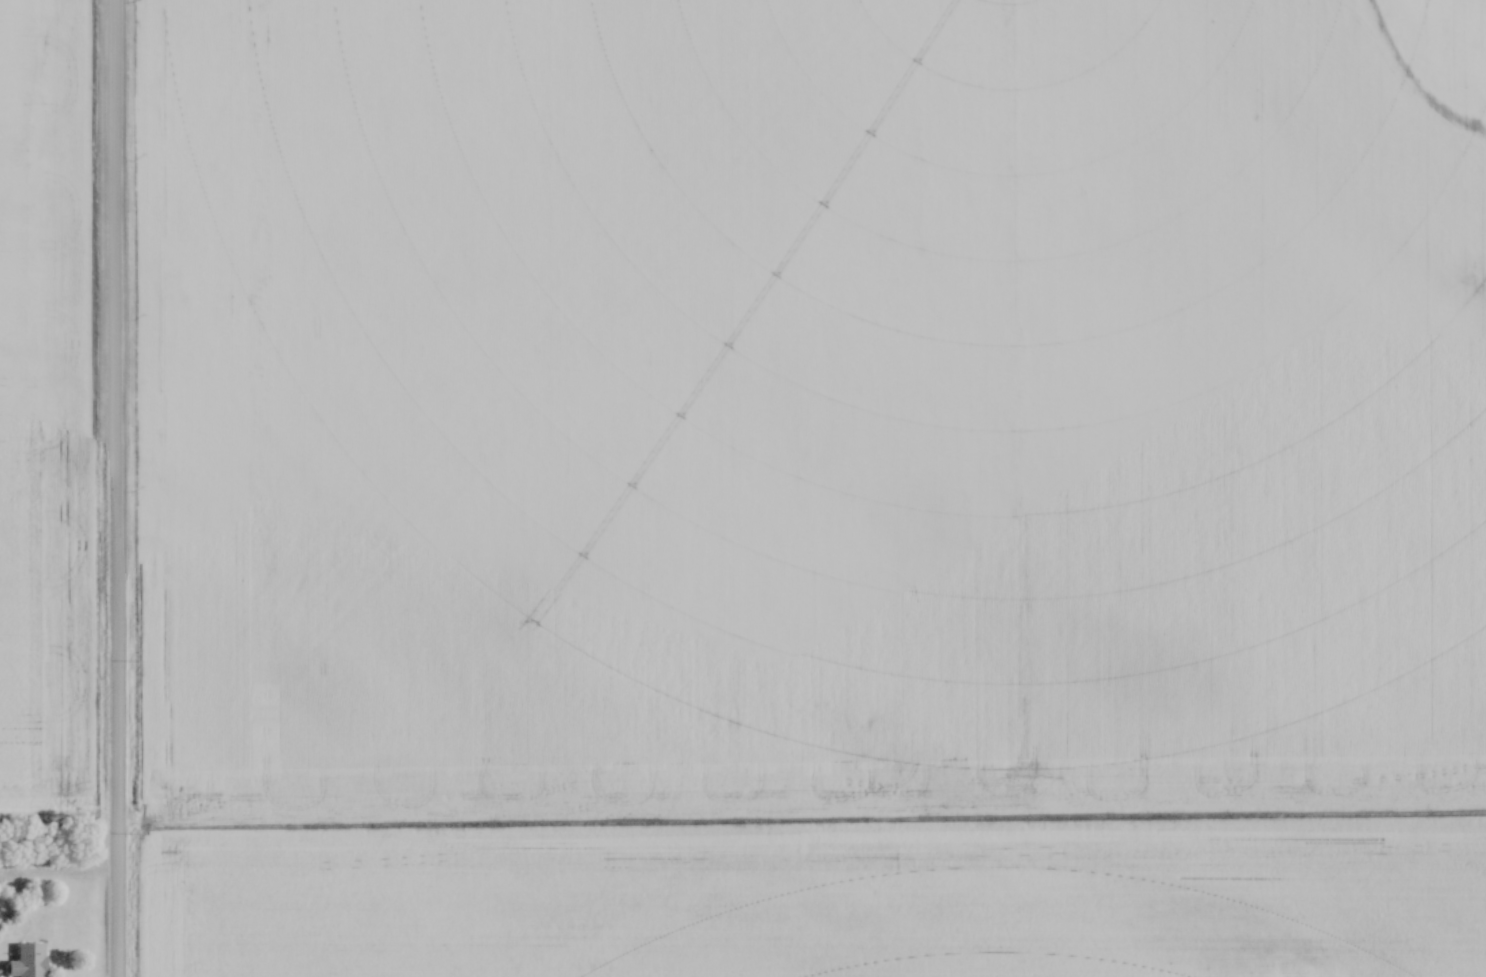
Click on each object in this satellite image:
road: (115, 488)
building: (21, 962)

